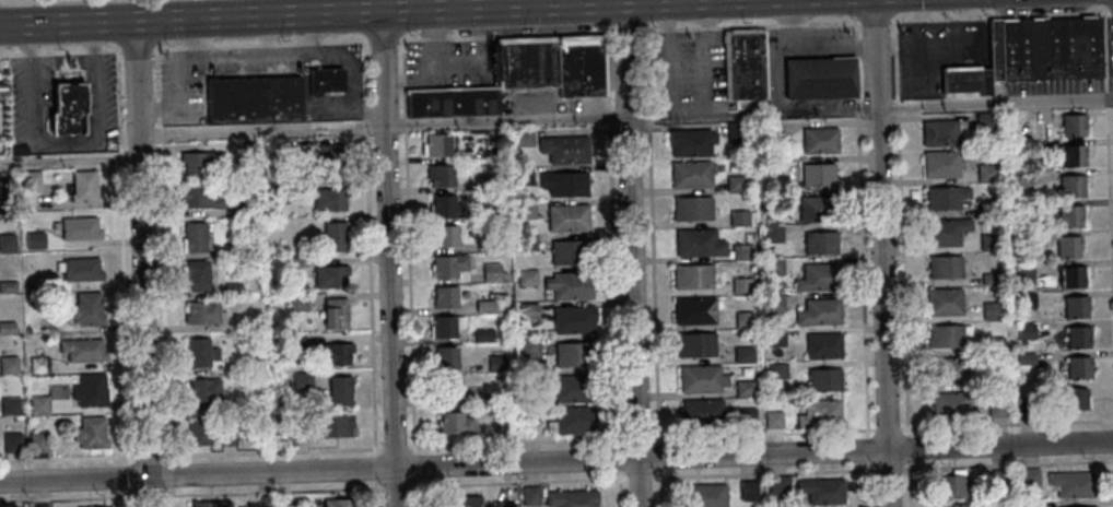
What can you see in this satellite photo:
road: (477, 4)
road: (793, 11)
road: (333, 12)
road: (1110, 12)
road: (704, 13)
road: (667, 14)
road: (997, 15)
road: (787, 23)
road: (875, 23)
road: (686, 27)
road: (706, 27)
road: (624, 28)
road: (651, 28)
road: (667, 28)
road: (856, 30)
road: (308, 31)
road: (267, 32)
road: (195, 35)
road: (505, 35)
road: (793, 36)
road: (384, 38)
road: (289, 40)
road: (197, 45)
road: (169, 46)
road: (138, 47)
road: (856, 47)
road: (319, 48)
building: (1041, 48)
road: (795, 49)
road: (59, 50)
road: (253, 50)
road: (204, 52)
road: (191, 54)
road: (1103, 54)
parking lot: (254, 61)
road: (894, 61)
parking lot: (447, 62)
road: (670, 62)
road: (705, 62)
building: (746, 66)
road: (354, 69)
road: (606, 72)
parking lot: (686, 73)
road: (156, 74)
road: (181, 74)
building: (520, 75)
building: (819, 78)
road: (403, 79)
building: (327, 80)
road: (364, 80)
road: (857, 80)
building: (963, 80)
parking lot: (180, 81)
building: (3, 85)
road: (689, 97)
road: (118, 99)
building: (253, 99)
road: (1104, 101)
road: (356, 102)
parking lot: (534, 104)
parking lot: (328, 105)
road: (711, 105)
building: (69, 108)
road: (857, 108)
road: (914, 108)
road: (147, 109)
road: (169, 109)
road: (181, 109)
road: (370, 109)
road: (332, 110)
road: (157, 113)
road: (897, 114)
road: (608, 119)
building: (983, 120)
building: (1070, 126)
road: (159, 127)
road: (405, 127)
road: (364, 128)
road: (383, 128)
building: (773, 128)
building: (1041, 129)
building: (734, 131)
building: (937, 133)
road: (159, 137)
building: (524, 138)
building: (820, 140)
building: (692, 142)
building: (437, 144)
road: (159, 145)
building: (249, 148)
building: (565, 149)
road: (160, 151)
building: (331, 152)
building: (1070, 156)
road: (120, 158)
road: (69, 160)
building: (199, 163)
building: (939, 164)
building: (984, 173)
building: (692, 174)
building: (442, 175)
building: (819, 175)
building: (525, 176)
building: (7, 178)
building: (1018, 178)
building: (32, 180)
building: (488, 180)
building: (564, 182)
building: (737, 182)
building: (85, 185)
building: (1068, 186)
building: (770, 194)
building: (202, 197)
building: (944, 197)
building: (330, 198)
building: (444, 204)
building: (1020, 205)
building: (242, 208)
building: (695, 208)
building: (818, 208)
building: (986, 208)
building: (526, 209)
building: (491, 212)
building: (739, 216)
building: (1068, 216)
building: (569, 217)
road: (1109, 219)
building: (80, 227)
building: (942, 232)
building: (773, 233)
building: (447, 235)
road: (652, 235)
building: (195, 236)
building: (336, 236)
building: (1022, 237)
building: (527, 239)
building: (701, 241)
building: (988, 241)
building: (9, 243)
building: (496, 243)
building: (822, 243)
building: (1065, 246)
building: (233, 248)
building: (571, 251)
building: (742, 252)
road: (880, 252)
road: (631, 253)
road: (389, 258)
building: (291, 261)
road: (142, 262)
building: (450, 266)
building: (775, 266)
building: (942, 267)
building: (81, 269)
building: (492, 270)
building: (1020, 271)
building: (199, 274)
building: (332, 275)
building: (528, 275)
building: (695, 275)
road: (863, 275)
building: (1068, 276)
building: (816, 278)
road: (903, 279)
building: (989, 279)
building: (570, 284)
building: (9, 285)
building: (742, 285)
building: (30, 286)
building: (234, 286)
road: (613, 286)
road: (371, 295)
road: (409, 295)
building: (445, 297)
building: (1023, 300)
building: (298, 302)
building: (941, 302)
building: (775, 304)
building: (490, 305)
building: (1074, 307)
building: (86, 308)
building: (530, 309)
building: (696, 310)
building: (987, 310)
building: (203, 311)
building: (336, 311)
building: (820, 311)
building: (575, 320)
building: (743, 320)
building: (7, 326)
building: (444, 327)
building: (26, 328)
road: (165, 330)
building: (1023, 331)
building: (484, 332)
building: (776, 335)
road: (126, 337)
building: (946, 337)
building: (1075, 337)
building: (296, 339)
building: (696, 344)
building: (992, 344)
building: (82, 346)
building: (530, 346)
building: (824, 346)
building: (203, 351)
building: (337, 353)
building: (572, 354)
building: (746, 354)
building: (259, 355)
building: (447, 356)
building: (1024, 359)
building: (497, 362)
building: (39, 363)
building: (9, 364)
building: (1076, 367)
building: (777, 370)
building: (946, 370)
building: (701, 377)
building: (303, 379)
building: (531, 379)
building: (825, 380)
building: (983, 380)
building: (450, 388)
building: (573, 388)
building: (747, 388)
building: (90, 389)
building: (341, 389)
building: (204, 390)
building: (501, 396)
building: (1073, 399)
building: (951, 403)
building: (39, 404)
building: (11, 405)
building: (995, 406)
building: (704, 410)
building: (1023, 410)
building: (502, 413)
building: (821, 413)
building: (530, 414)
building: (748, 416)
building: (573, 420)
building: (774, 420)
building: (458, 422)
road: (1006, 424)
building: (339, 425)
road: (889, 426)
building: (92, 432)
building: (200, 432)
road: (763, 432)
building: (286, 434)
building: (230, 436)
road: (637, 436)
building: (13, 439)
building: (38, 440)
road: (516, 440)
road: (394, 445)
road: (909, 447)
road: (868, 448)
road: (191, 456)
road: (659, 456)
road: (620, 459)
road: (556, 463)
road: (1007, 464)
road: (376, 465)
road: (415, 467)
road: (891, 468)
road: (764, 471)
road: (640, 475)
building: (1029, 477)
road: (517, 481)
road: (869, 483)
road: (909, 483)
building: (1071, 483)
building: (951, 484)
road: (395, 485)
building: (780, 486)
road: (659, 487)
road: (620, 488)
building: (750, 490)
building: (822, 490)
road: (377, 492)
road: (415, 492)
road: (191, 494)
building: (530, 495)
building: (705, 495)
building: (570, 498)
building: (461, 502)
building: (261, 503)
building: (338, 503)
building: (212, 504)
building: (503, 504)
building: (1028, 504)
building: (954, 505)
building: (94, 506)
building: (1087, 506)

